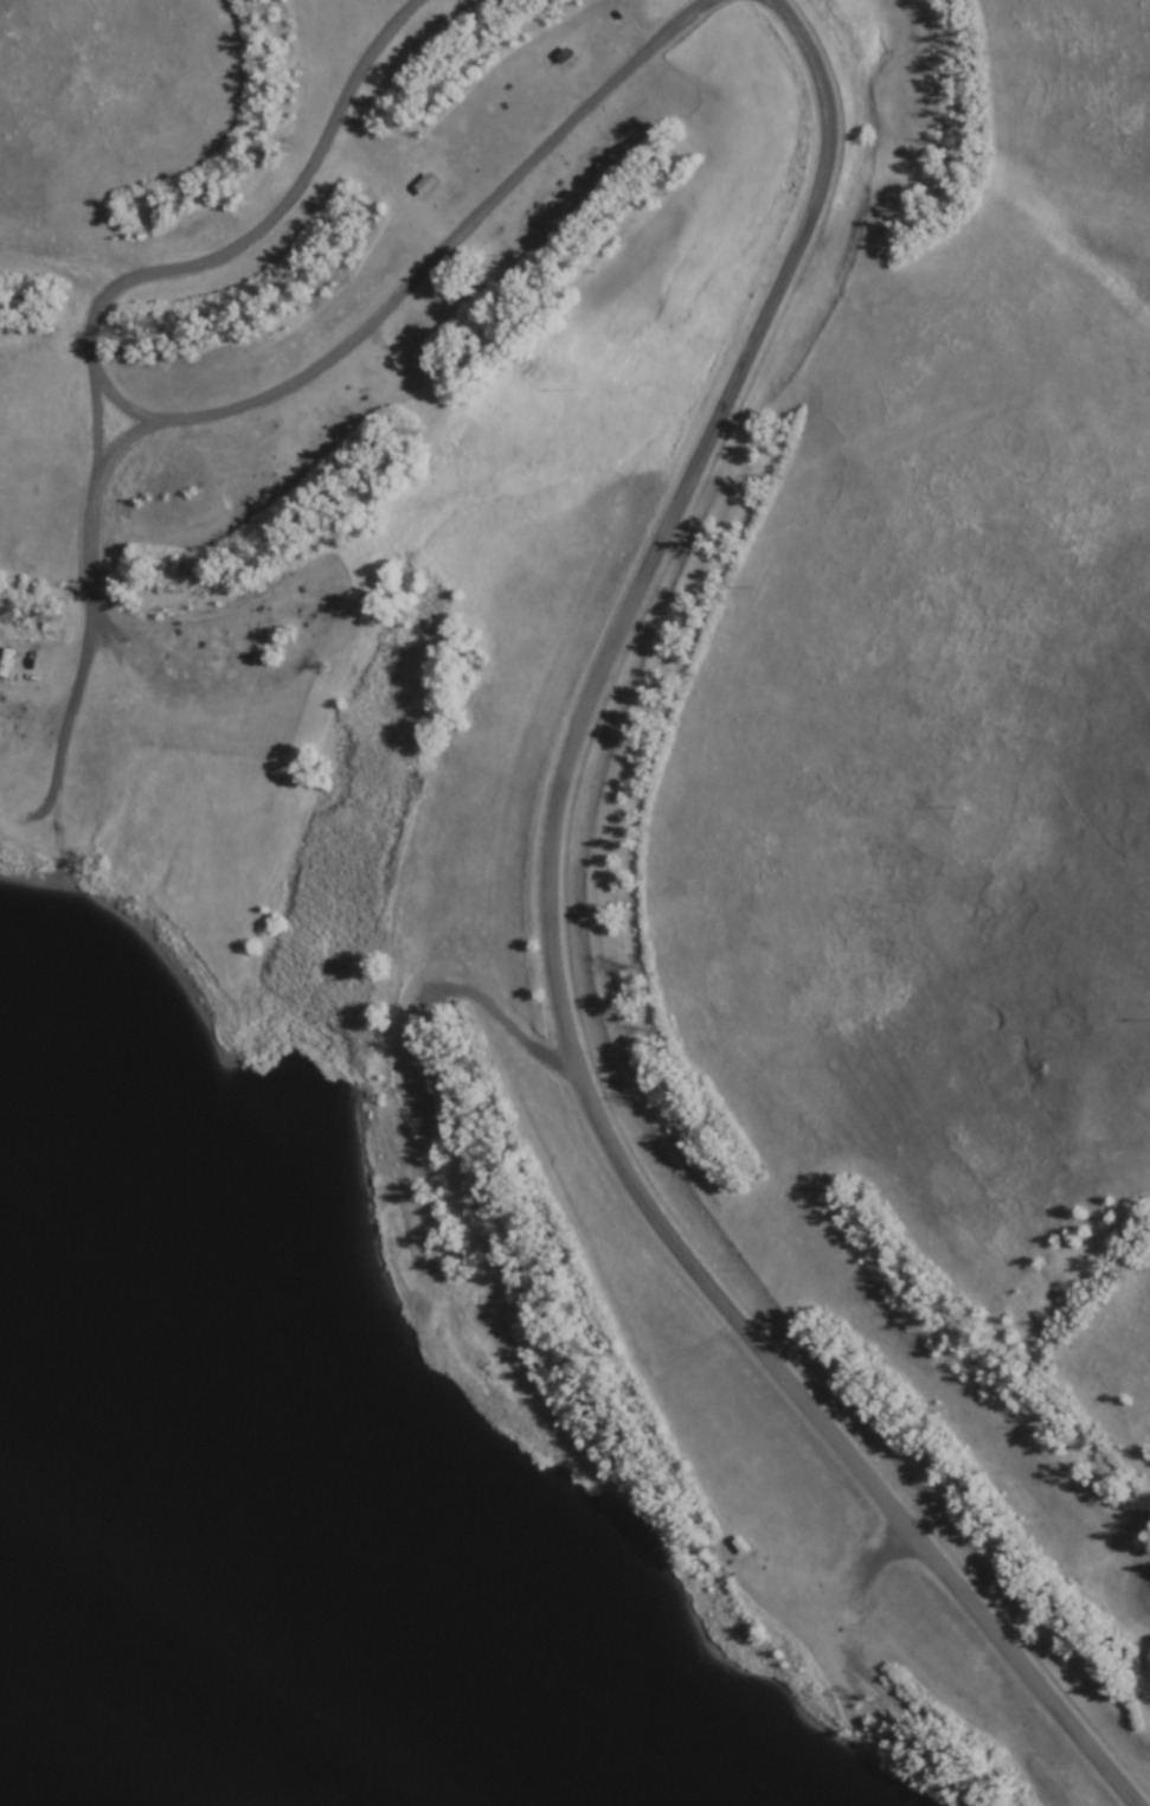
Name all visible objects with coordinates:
building: (426, 184)
road: (26, 218)
road: (89, 258)
road: (205, 412)
road: (97, 418)
road: (962, 563)
road: (92, 601)
road: (560, 965)

